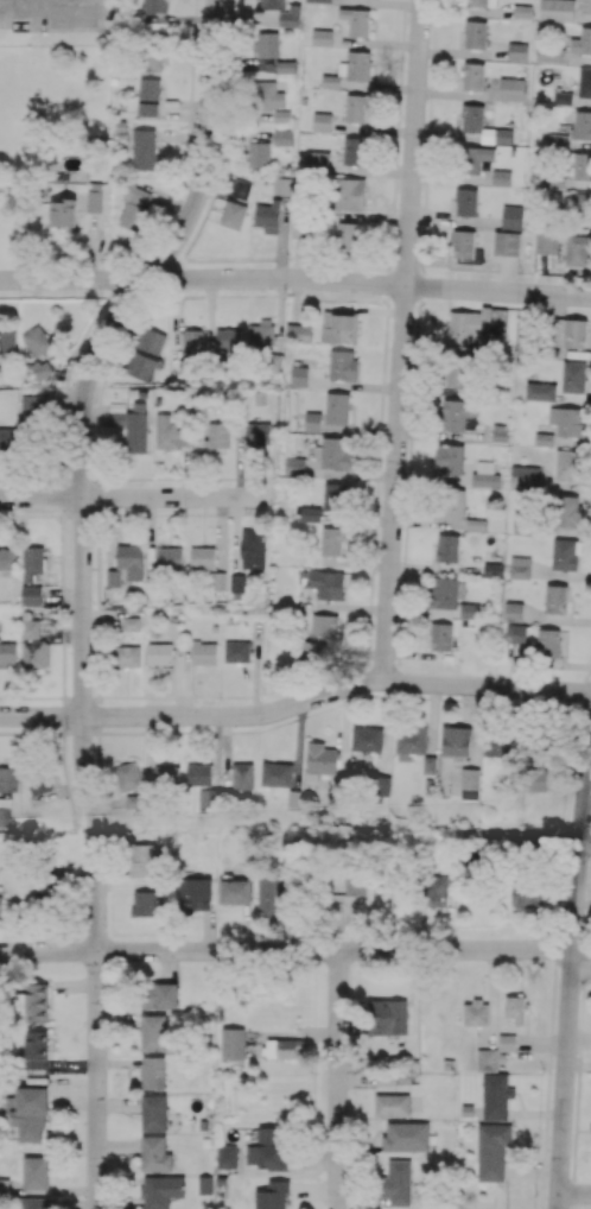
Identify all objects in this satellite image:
road: (14, 0)
building: (319, 0)
road: (65, 1)
building: (482, 2)
building: (272, 4)
building: (155, 5)
building: (585, 6)
building: (558, 10)
building: (290, 15)
building: (356, 20)
building: (475, 33)
building: (322, 36)
building: (582, 42)
building: (267, 44)
building: (517, 50)
building: (549, 52)
building: (150, 57)
building: (286, 67)
building: (349, 69)
building: (474, 75)
building: (584, 82)
building: (511, 88)
building: (267, 95)
building: (148, 96)
building: (356, 108)
building: (472, 115)
park: (39, 118)
building: (322, 121)
building: (582, 125)
building: (282, 137)
building: (557, 139)
building: (142, 148)
building: (354, 150)
building: (258, 153)
building: (475, 158)
building: (317, 159)
building: (582, 165)
building: (501, 177)
building: (282, 185)
building: (241, 188)
building: (349, 194)
building: (94, 201)
building: (465, 201)
building: (134, 205)
building: (579, 207)
building: (62, 211)
building: (234, 214)
building: (267, 216)
building: (511, 216)
building: (347, 235)
building: (506, 242)
building: (547, 242)
building: (463, 243)
building: (578, 249)
road: (295, 278)
building: (468, 324)
building: (339, 327)
building: (298, 333)
building: (576, 333)
building: (261, 335)
building: (37, 340)
road: (401, 340)
building: (228, 341)
building: (7, 343)
building: (191, 343)
building: (147, 353)
building: (343, 363)
building: (43, 368)
building: (458, 374)
building: (298, 375)
building: (573, 376)
building: (540, 391)
building: (337, 407)
building: (32, 410)
building: (457, 412)
building: (312, 420)
building: (566, 420)
building: (136, 431)
building: (170, 432)
building: (255, 432)
building: (218, 435)
building: (544, 438)
building: (7, 439)
building: (335, 452)
building: (449, 458)
building: (294, 464)
building: (568, 466)
building: (484, 475)
building: (525, 477)
building: (335, 495)
road: (138, 496)
building: (449, 504)
building: (567, 511)
building: (310, 513)
building: (526, 523)
building: (475, 524)
building: (330, 540)
building: (253, 547)
building: (447, 547)
building: (565, 553)
building: (202, 557)
building: (7, 558)
building: (170, 558)
building: (131, 561)
building: (32, 562)
building: (520, 566)
building: (493, 569)
building: (114, 577)
building: (326, 584)
road: (81, 588)
building: (443, 593)
building: (31, 595)
building: (555, 599)
building: (470, 610)
building: (514, 612)
building: (129, 622)
building: (30, 628)
building: (324, 632)
building: (515, 633)
building: (440, 635)
building: (551, 643)
building: (236, 651)
building: (204, 652)
building: (7, 653)
building: (34, 653)
building: (159, 653)
building: (127, 656)
road: (295, 703)
building: (367, 738)
building: (411, 739)
building: (456, 740)
building: (501, 745)
building: (322, 758)
building: (428, 764)
building: (198, 773)
building: (165, 774)
building: (277, 774)
building: (242, 776)
building: (8, 779)
building: (536, 779)
building: (40, 781)
building: (129, 783)
building: (470, 783)
building: (380, 784)
building: (527, 842)
building: (142, 860)
building: (355, 884)
building: (437, 890)
building: (234, 891)
building: (527, 891)
building: (195, 893)
building: (269, 897)
building: (0, 900)
building: (145, 903)
building: (335, 911)
road: (298, 950)
road: (568, 987)
building: (159, 995)
building: (36, 1002)
building: (515, 1008)
building: (476, 1013)
building: (388, 1017)
building: (153, 1032)
building: (233, 1043)
building: (507, 1043)
building: (282, 1047)
building: (34, 1049)
building: (487, 1059)
building: (152, 1072)
building: (381, 1074)
road: (337, 1080)
building: (496, 1096)
building: (392, 1104)
building: (30, 1113)
building: (154, 1113)
building: (406, 1135)
building: (268, 1148)
building: (493, 1150)
building: (155, 1153)
building: (227, 1156)
building: (34, 1171)
building: (396, 1182)
building: (161, 1190)
road: (574, 1192)
building: (272, 1195)
building: (33, 1202)

